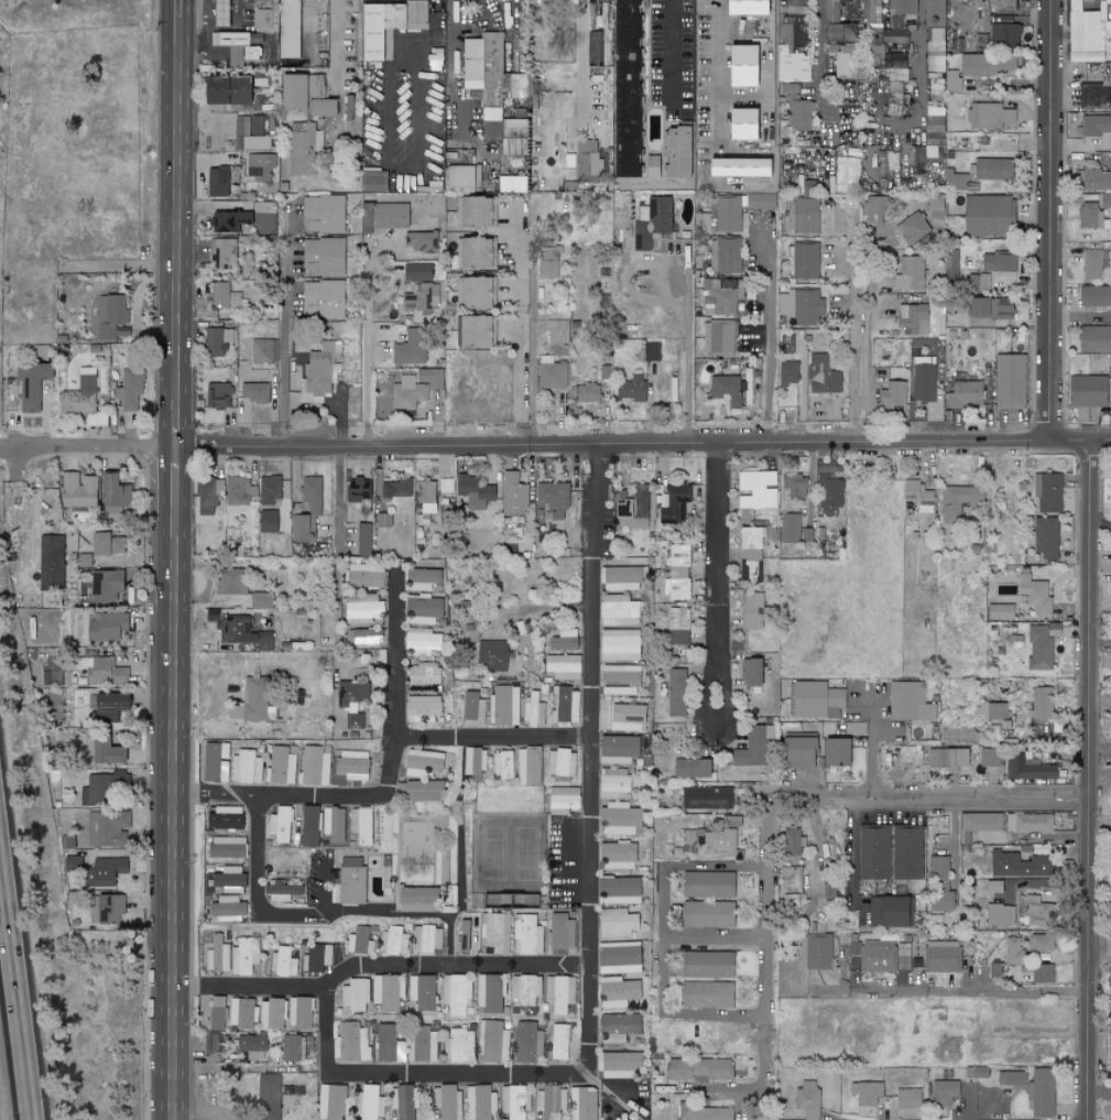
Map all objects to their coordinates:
building: (802, 0)
building: (977, 0)
building: (473, 1)
building: (553, 2)
building: (1002, 4)
building: (786, 6)
building: (902, 7)
road: (178, 9)
building: (1107, 10)
road: (242, 11)
building: (870, 11)
building: (832, 12)
building: (934, 13)
building: (416, 15)
building: (260, 19)
building: (378, 28)
building: (288, 29)
road: (311, 29)
building: (1085, 29)
building: (797, 33)
building: (1004, 35)
building: (876, 43)
road: (335, 46)
building: (933, 51)
building: (240, 55)
road: (672, 55)
road: (584, 58)
building: (842, 59)
road: (918, 64)
road: (451, 65)
building: (988, 65)
road: (177, 66)
building: (483, 67)
building: (792, 67)
road: (823, 72)
building: (897, 73)
building: (952, 81)
road: (721, 85)
building: (516, 86)
building: (318, 87)
building: (209, 90)
building: (241, 90)
building: (1097, 90)
building: (294, 91)
building: (323, 108)
building: (351, 108)
building: (797, 110)
road: (211, 115)
building: (989, 116)
building: (490, 124)
building: (251, 126)
building: (1096, 127)
building: (513, 129)
building: (933, 132)
building: (258, 143)
building: (305, 148)
building: (675, 152)
building: (934, 154)
building: (917, 160)
building: (587, 162)
building: (889, 162)
building: (625, 164)
building: (259, 166)
building: (653, 167)
building: (992, 170)
building: (853, 171)
building: (460, 176)
building: (917, 178)
building: (1096, 180)
building: (955, 181)
building: (373, 182)
building: (218, 184)
building: (511, 185)
building: (805, 185)
building: (933, 200)
building: (761, 202)
building: (1104, 202)
building: (688, 206)
building: (874, 210)
building: (472, 213)
building: (323, 214)
building: (729, 214)
building: (988, 216)
building: (805, 217)
building: (1092, 217)
building: (367, 218)
road: (1049, 220)
building: (228, 221)
building: (653, 222)
building: (224, 253)
building: (472, 253)
building: (729, 255)
building: (324, 257)
building: (806, 261)
building: (548, 263)
building: (998, 263)
building: (947, 264)
building: (1093, 264)
building: (416, 272)
building: (906, 276)
road: (176, 281)
building: (982, 282)
building: (472, 293)
building: (723, 295)
building: (225, 296)
building: (1094, 296)
building: (422, 297)
building: (324, 300)
building: (976, 307)
building: (806, 308)
building: (1002, 309)
building: (110, 315)
building: (912, 318)
road: (285, 323)
road: (858, 324)
road: (525, 328)
building: (472, 331)
building: (556, 331)
building: (718, 338)
road: (770, 338)
building: (1094, 339)
building: (221, 341)
building: (787, 345)
building: (263, 350)
road: (688, 350)
building: (406, 351)
building: (652, 352)
road: (367, 359)
building: (319, 371)
building: (788, 373)
building: (552, 376)
building: (824, 377)
building: (1110, 378)
building: (34, 381)
building: (1010, 381)
building: (87, 382)
building: (923, 383)
building: (747, 388)
building: (130, 389)
building: (416, 389)
building: (632, 389)
building: (727, 390)
road: (799, 392)
building: (1086, 392)
building: (257, 393)
building: (588, 393)
building: (892, 394)
building: (963, 394)
building: (219, 396)
building: (76, 403)
building: (700, 411)
building: (97, 421)
road: (643, 445)
road: (100, 447)
building: (758, 480)
building: (396, 488)
building: (77, 490)
building: (271, 490)
building: (359, 490)
building: (796, 490)
building: (240, 491)
building: (111, 492)
building: (472, 492)
building: (1049, 493)
building: (210, 496)
building: (312, 496)
building: (513, 496)
building: (830, 496)
building: (917, 496)
building: (19, 497)
building: (554, 499)
building: (426, 501)
building: (760, 501)
building: (959, 502)
building: (675, 504)
building: (633, 509)
building: (383, 521)
building: (269, 522)
building: (299, 529)
building: (791, 529)
building: (806, 535)
building: (1046, 539)
building: (363, 540)
building: (236, 550)
building: (750, 554)
road: (338, 555)
building: (51, 559)
building: (679, 574)
building: (362, 576)
building: (622, 579)
building: (418, 580)
building: (231, 583)
road: (720, 583)
building: (106, 586)
building: (1030, 592)
building: (261, 601)
building: (362, 611)
building: (420, 611)
building: (619, 611)
building: (752, 611)
building: (1000, 612)
building: (107, 627)
building: (679, 627)
building: (243, 634)
building: (367, 638)
building: (558, 641)
building: (420, 642)
building: (619, 645)
building: (1039, 650)
building: (492, 655)
building: (379, 657)
building: (564, 667)
building: (102, 671)
building: (752, 673)
building: (422, 675)
building: (619, 681)
building: (674, 698)
building: (815, 699)
road: (1100, 699)
building: (251, 702)
building: (910, 703)
building: (1043, 703)
building: (108, 705)
building: (504, 706)
building: (566, 706)
building: (422, 709)
building: (473, 710)
building: (535, 710)
building: (992, 711)
building: (621, 717)
building: (958, 735)
road: (497, 739)
building: (753, 748)
road: (399, 751)
building: (107, 752)
building: (798, 752)
building: (834, 752)
building: (991, 758)
building: (948, 759)
building: (217, 761)
road: (873, 761)
building: (476, 762)
building: (563, 763)
building: (422, 764)
building: (504, 764)
building: (316, 765)
building: (352, 765)
building: (283, 766)
building: (531, 766)
building: (248, 768)
building: (690, 769)
building: (1027, 769)
road: (1090, 780)
road: (173, 783)
building: (616, 784)
building: (106, 787)
building: (421, 791)
road: (215, 795)
road: (826, 795)
road: (981, 796)
building: (564, 798)
building: (707, 798)
building: (224, 819)
building: (621, 819)
building: (981, 822)
building: (1030, 824)
building: (282, 826)
building: (311, 826)
building: (361, 826)
building: (335, 827)
building: (107, 828)
building: (994, 837)
road: (955, 839)
building: (712, 842)
building: (793, 842)
road: (850, 842)
building: (228, 847)
road: (816, 852)
building: (874, 852)
building: (907, 852)
building: (619, 856)
building: (284, 860)
building: (1020, 866)
building: (283, 870)
building: (107, 871)
building: (229, 880)
building: (350, 881)
building: (709, 885)
building: (939, 885)
building: (829, 887)
building: (992, 887)
building: (620, 889)
building: (282, 892)
building: (417, 899)
building: (227, 906)
building: (107, 910)
road: (259, 911)
building: (1037, 912)
building: (885, 913)
building: (710, 915)
building: (999, 916)
building: (618, 924)
road: (771, 928)
road: (588, 931)
building: (563, 932)
building: (495, 934)
building: (530, 935)
building: (427, 938)
building: (464, 938)
road: (718, 938)
road: (666, 939)
building: (394, 940)
building: (360, 942)
building: (1041, 943)
road: (1100, 948)
building: (820, 952)
building: (1013, 953)
building: (220, 955)
building: (246, 956)
building: (876, 956)
building: (905, 957)
building: (941, 957)
building: (317, 958)
road: (377, 958)
building: (621, 958)
road: (20, 959)
building: (284, 963)
building: (707, 965)
building: (991, 971)
building: (1041, 975)
building: (526, 989)
building: (423, 992)
building: (619, 992)
road: (952, 992)
building: (388, 993)
building: (560, 993)
building: (491, 994)
building: (355, 996)
building: (457, 996)
building: (709, 996)
building: (218, 1013)
building: (243, 1013)
building: (302, 1013)
building: (274, 1015)
building: (620, 1027)
building: (211, 1043)
building: (495, 1043)
building: (531, 1043)
building: (563, 1043)
building: (353, 1044)
building: (425, 1045)
building: (462, 1045)
building: (253, 1046)
building: (389, 1046)
building: (292, 1051)
building: (620, 1065)
building: (698, 1069)
building: (976, 1073)
building: (1011, 1079)
road: (745, 1092)
road: (1100, 1092)
building: (865, 1094)
building: (944, 1094)
building: (1042, 1094)
building: (269, 1097)
building: (554, 1099)
building: (907, 1099)
building: (807, 1100)
building: (371, 1101)
building: (449, 1101)
building: (334, 1102)
building: (407, 1102)
building: (482, 1102)
building: (518, 1102)
building: (585, 1103)
building: (707, 1113)

